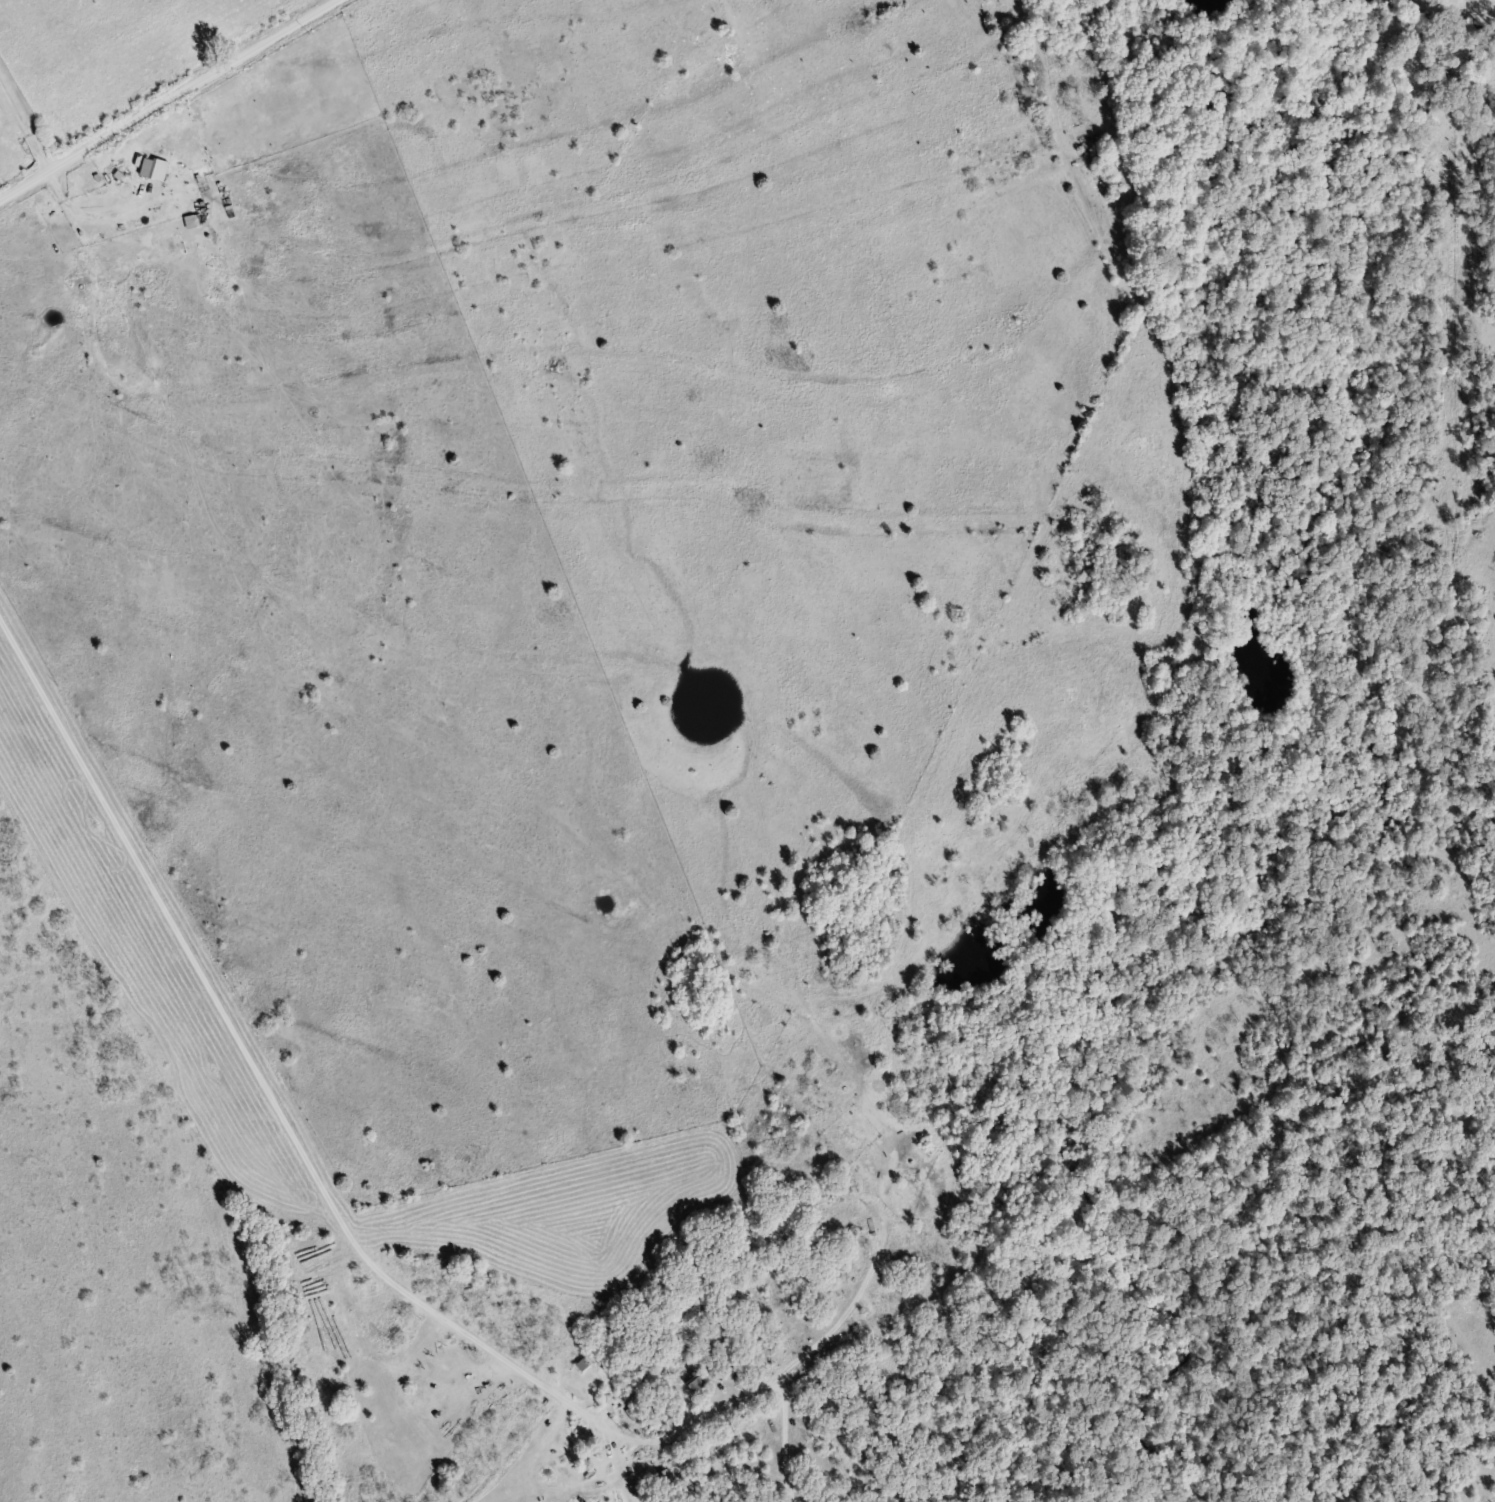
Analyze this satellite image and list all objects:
road: (174, 102)
road: (1078, 156)
building: (157, 170)
building: (195, 223)

